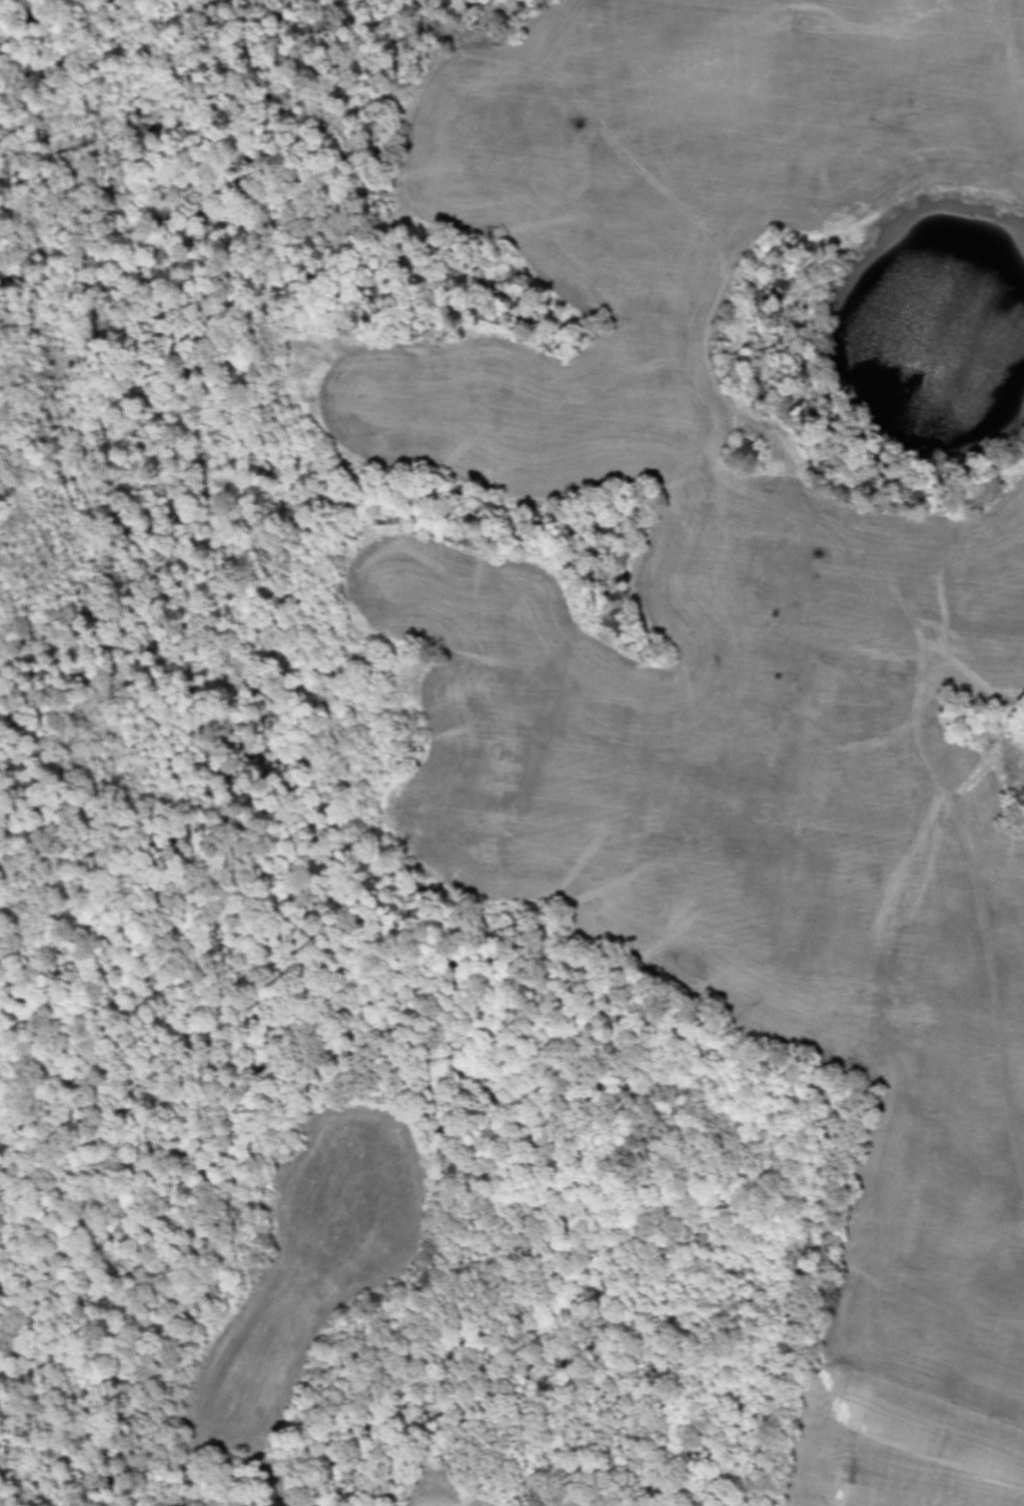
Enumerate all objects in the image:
building: (743, 449)

